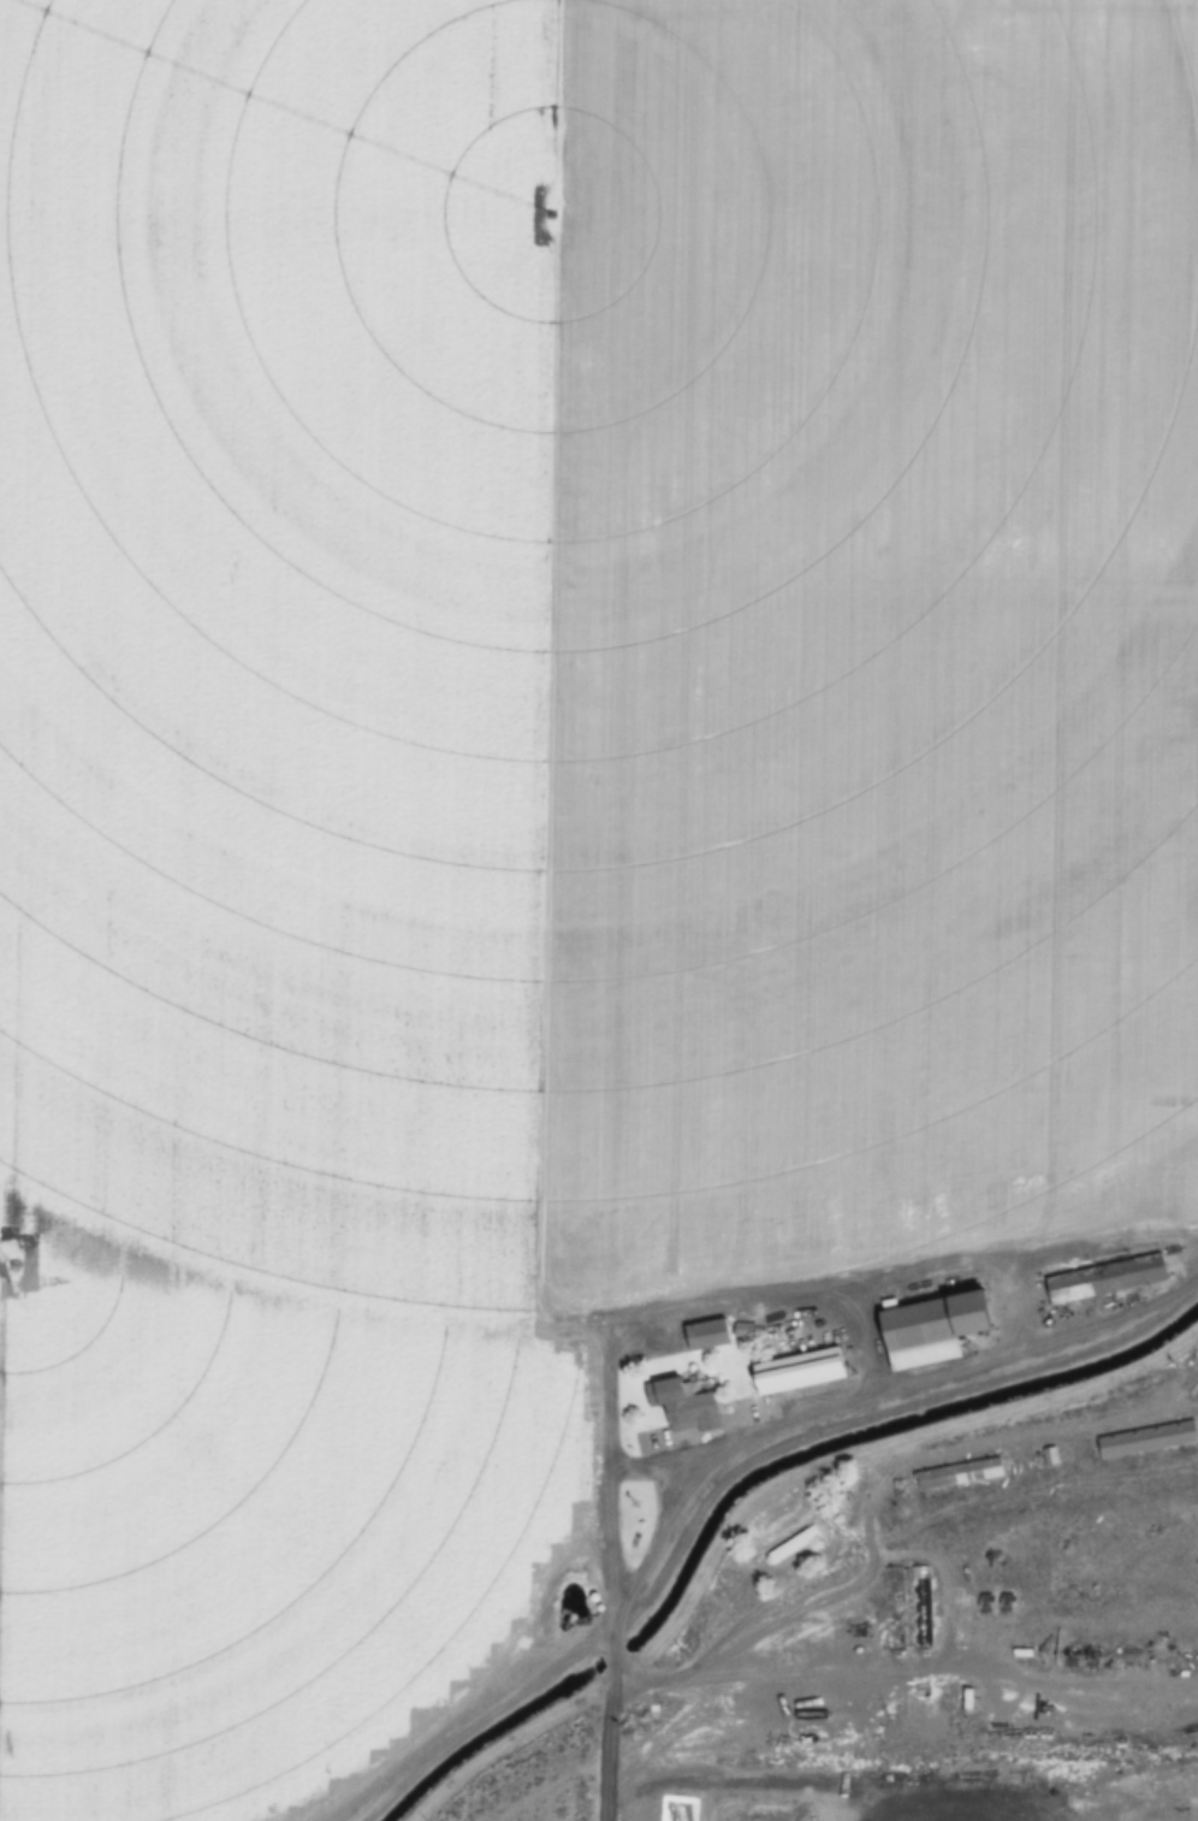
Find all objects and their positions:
road: (559, 923)
building: (1105, 1279)
building: (932, 1330)
building: (707, 1336)
building: (799, 1372)
building: (682, 1407)
building: (1146, 1439)
building: (959, 1474)
building: (793, 1544)
building: (920, 1608)
building: (895, 1609)
road: (455, 1727)
building: (676, 1809)

